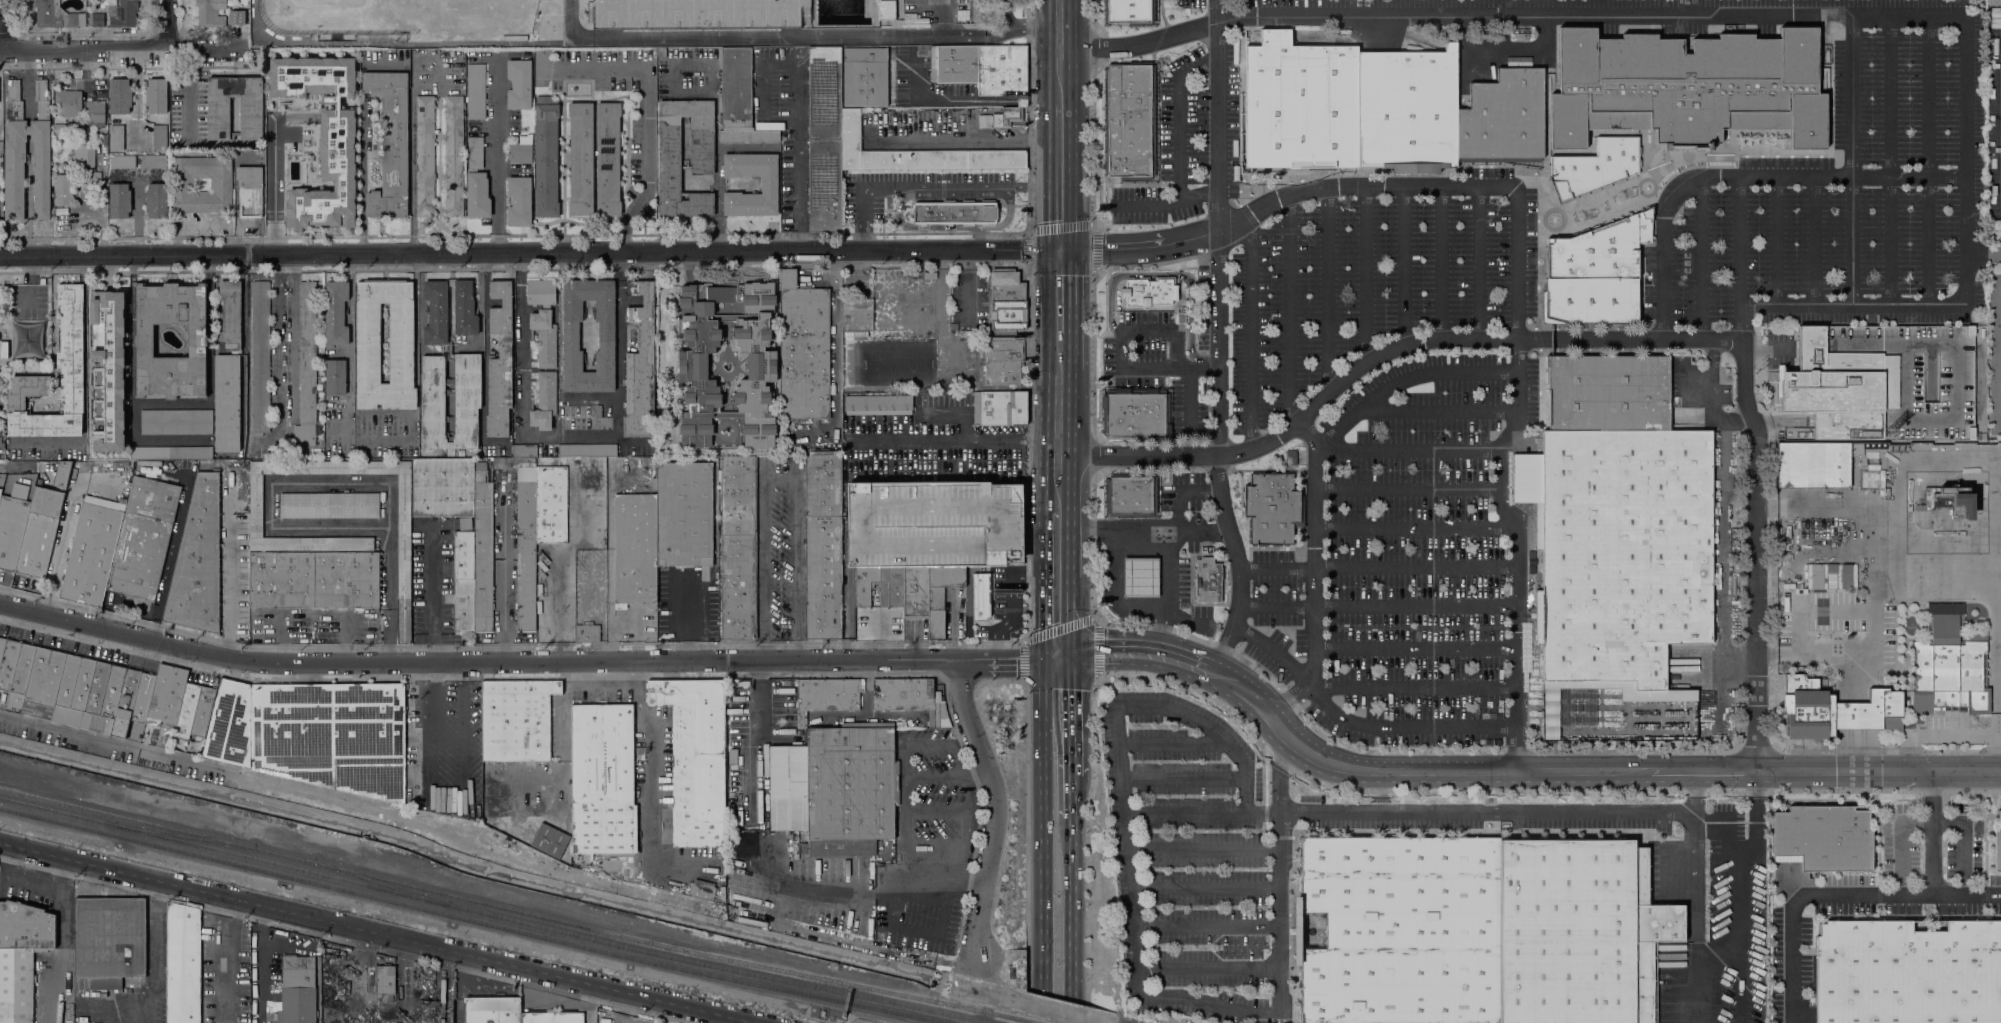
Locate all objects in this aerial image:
building: (89, 1)
building: (1695, 1)
building: (886, 9)
building: (974, 10)
building: (1131, 12)
road: (1009, 13)
building: (124, 14)
building: (216, 14)
building: (696, 14)
road: (1093, 14)
road: (1446, 14)
road: (1908, 14)
building: (56, 15)
building: (96, 19)
building: (914, 19)
road: (167, 22)
road: (6, 24)
road: (793, 35)
road: (117, 44)
road: (1095, 46)
building: (661, 52)
road: (1045, 52)
road: (26, 58)
building: (982, 68)
building: (864, 76)
road: (1071, 82)
building: (519, 84)
building: (736, 87)
building: (1687, 87)
road: (26, 90)
building: (475, 91)
road: (189, 93)
building: (120, 95)
road: (798, 95)
building: (156, 96)
building: (68, 102)
building: (1299, 107)
building: (1408, 111)
road: (1217, 114)
building: (97, 115)
building: (218, 115)
road: (1030, 115)
building: (1007, 116)
building: (984, 120)
building: (1503, 120)
building: (1130, 121)
building: (78, 122)
road: (645, 122)
building: (59, 128)
road: (1178, 132)
building: (749, 136)
building: (117, 137)
building: (159, 137)
building: (323, 137)
building: (825, 138)
road: (972, 141)
building: (390, 143)
road: (1093, 143)
road: (1047, 144)
building: (702, 146)
building: (1, 147)
building: (521, 150)
building: (14, 152)
road: (496, 152)
building: (918, 153)
building: (425, 156)
building: (453, 156)
road: (412, 157)
building: (546, 157)
building: (581, 159)
building: (608, 159)
road: (1852, 159)
road: (1890, 159)
road: (1927, 159)
road: (1964, 159)
building: (122, 161)
building: (153, 161)
building: (1597, 165)
building: (88, 166)
road: (1851, 176)
building: (477, 181)
building: (221, 184)
road: (274, 184)
building: (769, 184)
road: (1525, 184)
road: (953, 186)
building: (63, 189)
parking lot: (1850, 189)
road: (905, 190)
building: (250, 191)
road: (886, 192)
road: (1680, 192)
road: (1288, 193)
road: (28, 194)
road: (956, 194)
building: (156, 200)
building: (119, 201)
building: (519, 201)
road: (1147, 204)
road: (1072, 207)
building: (955, 212)
road: (1047, 217)
road: (863, 221)
road: (28, 226)
road: (1065, 227)
road: (953, 229)
road: (1776, 240)
road: (1815, 240)
road: (28, 245)
traffic signals: (1072, 249)
traffic signals: (1048, 250)
road: (1060, 250)
road: (523, 252)
road: (1701, 258)
road: (1740, 258)
road: (520, 260)
road: (1441, 261)
road: (1478, 261)
road: (1517, 262)
road: (53, 263)
road: (81, 263)
road: (1403, 265)
road: (1365, 273)
building: (1595, 273)
building: (930, 275)
road: (1180, 276)
parking lot: (1372, 282)
road: (1327, 288)
building: (1147, 291)
building: (541, 292)
road: (1662, 293)
building: (1007, 300)
road: (1852, 305)
building: (465, 309)
road: (54, 310)
road: (1289, 310)
building: (436, 312)
building: (336, 313)
building: (856, 316)
park: (25, 324)
road: (1251, 332)
building: (571, 335)
road: (293, 336)
building: (544, 337)
building: (197, 340)
road: (1219, 341)
road: (276, 343)
building: (368, 343)
parking lot: (1138, 348)
building: (803, 349)
road: (836, 349)
building: (4, 350)
road: (1123, 350)
road: (1381, 352)
road: (1092, 354)
building: (260, 356)
building: (1004, 359)
building: (69, 360)
road: (617, 360)
building: (500, 361)
building: (307, 363)
road: (523, 365)
building: (640, 365)
building: (693, 366)
building: (108, 368)
building: (228, 370)
road: (1404, 376)
building: (336, 377)
road: (1044, 379)
building: (1884, 382)
road: (1071, 387)
road: (83, 390)
building: (1607, 393)
road: (591, 397)
building: (468, 401)
building: (544, 401)
road: (1191, 401)
building: (878, 402)
building: (999, 407)
road: (1437, 409)
building: (598, 411)
building: (1136, 414)
building: (176, 421)
road: (590, 435)
road: (964, 438)
road: (1408, 448)
building: (587, 450)
building: (171, 452)
road: (1027, 454)
road: (1094, 454)
building: (1291, 457)
building: (1813, 465)
building: (62, 473)
road: (776, 479)
building: (442, 486)
road: (1408, 488)
building: (0, 492)
building: (1130, 494)
building: (1951, 499)
building: (329, 505)
building: (1272, 506)
railway: (1057, 511)
building: (684, 514)
building: (534, 520)
building: (12, 525)
road: (1056, 525)
road: (1149, 525)
road: (298, 526)
road: (1417, 526)
building: (39, 532)
building: (143, 538)
building: (823, 544)
road: (1092, 545)
building: (738, 548)
building: (635, 549)
road: (1517, 549)
building: (92, 550)
road: (1314, 550)
building: (1620, 555)
road: (1757, 557)
building: (475, 560)
building: (197, 561)
road: (1238, 563)
parking lot: (1398, 563)
road: (1950, 566)
road: (1165, 567)
road: (1300, 567)
road: (1378, 568)
road: (504, 573)
building: (1814, 575)
building: (1141, 577)
gas station: (1141, 577)
gas station: (1141, 577)
building: (1836, 577)
building: (314, 579)
road: (228, 580)
building: (1208, 580)
road: (1043, 584)
building: (864, 586)
road: (1300, 586)
road: (1113, 587)
road: (1070, 588)
building: (915, 590)
road: (433, 594)
building: (979, 595)
building: (404, 597)
building: (941, 597)
road: (1376, 605)
road: (1311, 611)
road: (1185, 617)
road: (1102, 621)
road: (686, 622)
road: (1068, 626)
road: (1414, 626)
road: (1520, 626)
road: (1158, 630)
building: (587, 633)
building: (2, 647)
road: (1415, 647)
road: (1112, 648)
traffic signals: (1071, 651)
road: (1057, 655)
road: (1182, 657)
traffic signals: (1043, 659)
road: (517, 662)
building: (9, 663)
building: (1949, 665)
building: (23, 668)
building: (43, 683)
road: (1414, 686)
building: (88, 694)
building: (904, 695)
building: (826, 696)
building: (143, 697)
road: (1290, 699)
building: (18, 701)
building: (10, 702)
building: (125, 702)
building: (180, 703)
building: (1836, 710)
road: (1071, 713)
building: (517, 719)
road: (1356, 722)
building: (305, 723)
road: (749, 740)
road: (1173, 743)
road: (123, 745)
building: (639, 752)
building: (695, 758)
road: (1587, 770)
road: (1280, 774)
road: (1181, 776)
building: (602, 779)
road: (653, 785)
building: (836, 789)
road: (1379, 790)
road: (1072, 797)
road: (451, 805)
road: (998, 806)
road: (1507, 810)
road: (1182, 813)
railway: (155, 824)
road: (905, 825)
road: (1934, 832)
railway: (181, 835)
road: (1086, 838)
building: (1823, 838)
building: (550, 840)
road: (1043, 841)
building: (1997, 843)
road: (1205, 848)
road: (1027, 852)
parking lot: (1239, 858)
road: (1694, 869)
road: (16, 879)
railway: (378, 882)
road: (610, 885)
road: (807, 887)
road: (1207, 887)
building: (702, 889)
road: (1803, 895)
road: (1967, 895)
road: (1134, 900)
road: (1754, 902)
railway: (492, 914)
railway: (467, 918)
road: (1072, 921)
road: (220, 922)
road: (1208, 925)
building: (1401, 929)
road: (377, 932)
building: (1578, 932)
road: (63, 939)
building: (108, 941)
railway: (666, 945)
building: (21, 956)
road: (381, 961)
building: (183, 963)
road: (258, 963)
road: (1210, 968)
building: (1908, 972)
road: (153, 974)
building: (385, 982)
road: (996, 984)
building: (297, 990)
building: (492, 1009)
building: (338, 1012)
road: (1060, 1014)
building: (552, 1017)
railway: (1030, 1021)

